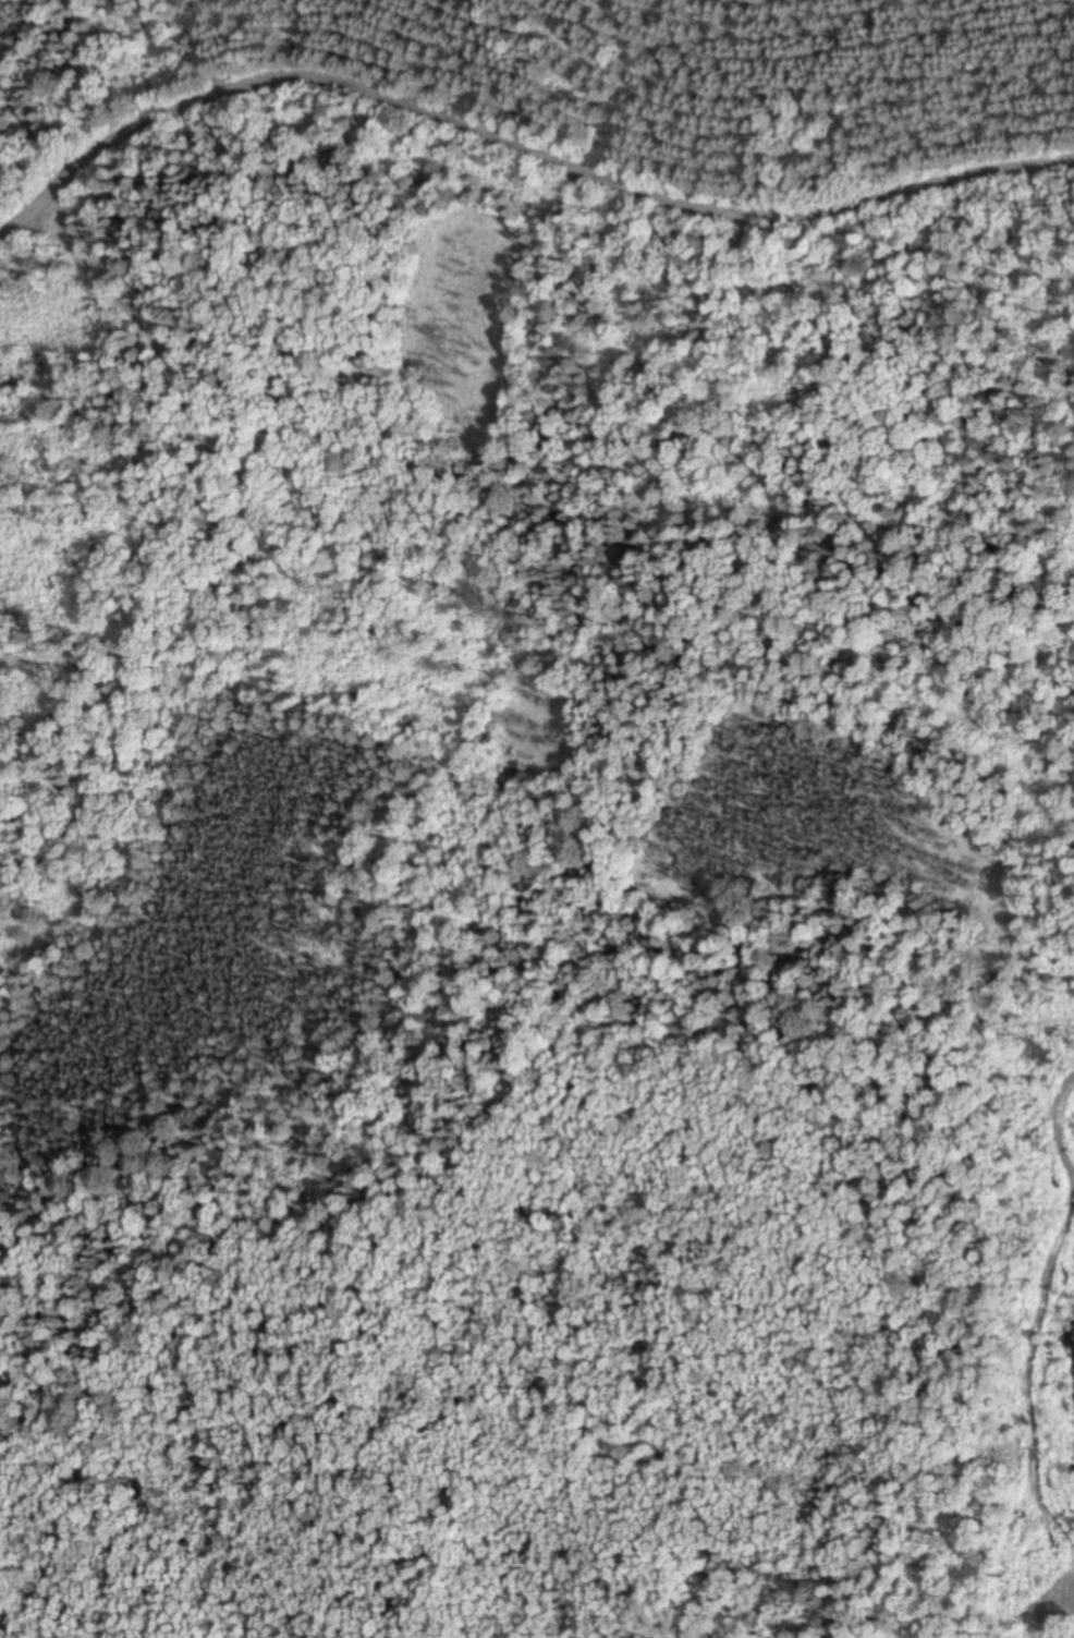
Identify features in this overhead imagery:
road: (518, 146)

